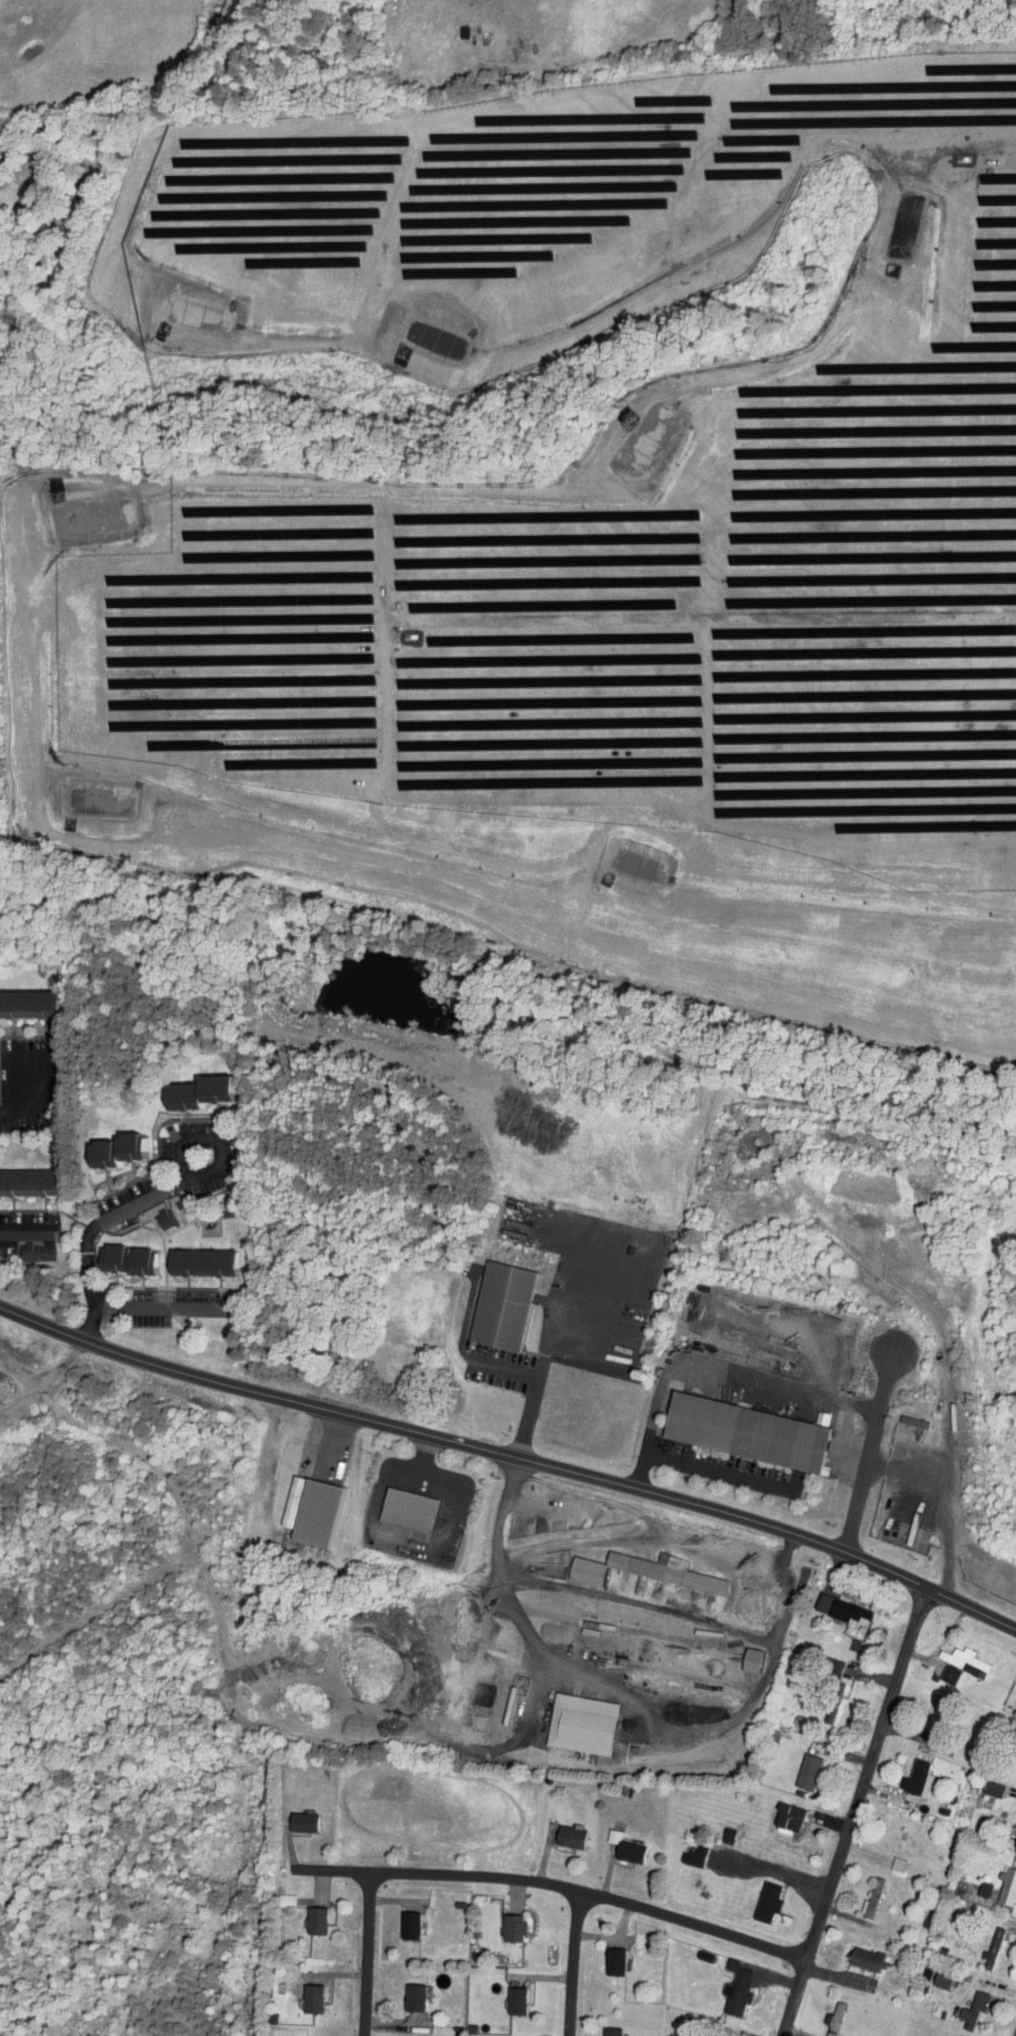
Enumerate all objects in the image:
road: (1, 184)
road: (802, 349)
building: (19, 997)
building: (186, 1085)
road: (30, 1096)
building: (19, 1175)
road: (158, 1198)
building: (151, 1213)
road: (27, 1230)
building: (23, 1246)
building: (113, 1253)
building: (188, 1256)
building: (487, 1300)
road: (160, 1307)
road: (557, 1317)
road: (504, 1365)
road: (712, 1369)
building: (733, 1426)
road: (332, 1446)
road: (870, 1450)
road: (425, 1454)
road: (511, 1458)
building: (393, 1503)
road: (930, 1503)
building: (299, 1506)
building: (904, 1525)
road: (405, 1543)
building: (631, 1565)
road: (640, 1603)
building: (829, 1603)
building: (737, 1654)
building: (948, 1658)
building: (819, 1661)
road: (633, 1702)
building: (567, 1718)
building: (794, 1766)
building: (904, 1773)
building: (978, 1783)
road: (853, 1810)
building: (774, 1811)
building: (289, 1816)
building: (556, 1831)
building: (612, 1842)
building: (680, 1849)
building: (997, 1879)
building: (858, 1893)
building: (275, 1894)
road: (538, 1894)
building: (754, 1895)
building: (302, 1915)
building: (395, 1920)
building: (500, 1922)
building: (980, 1944)
building: (854, 1954)
building: (600, 1956)
road: (362, 1960)
road: (570, 1968)
building: (928, 1975)
building: (724, 1983)
building: (400, 1992)
building: (298, 1993)
building: (501, 1995)
building: (960, 2003)
building: (821, 2012)

